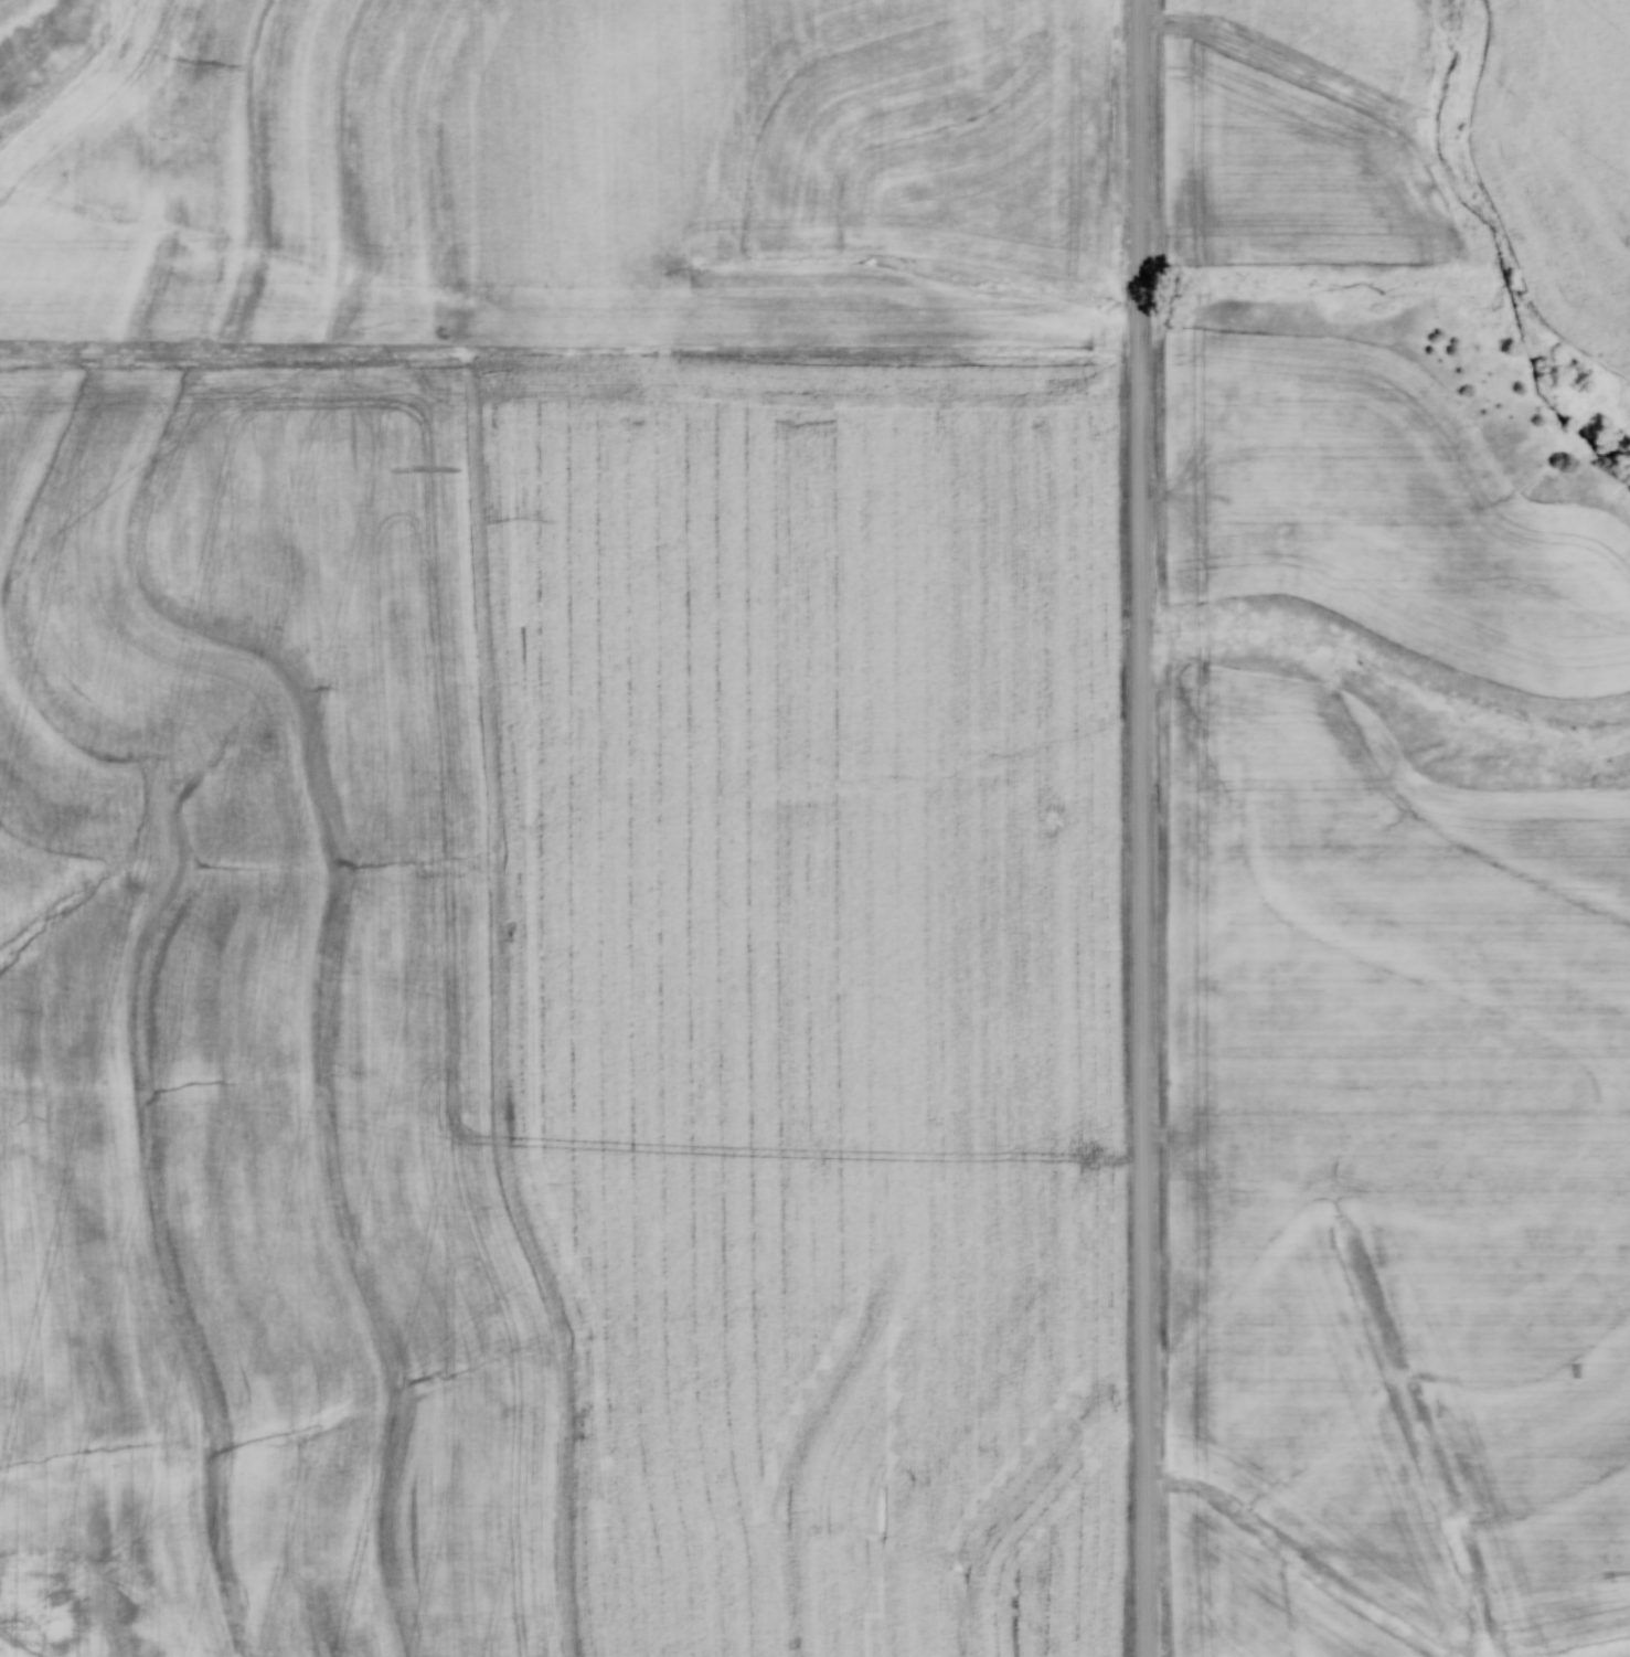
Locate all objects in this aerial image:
road: (1142, 828)

